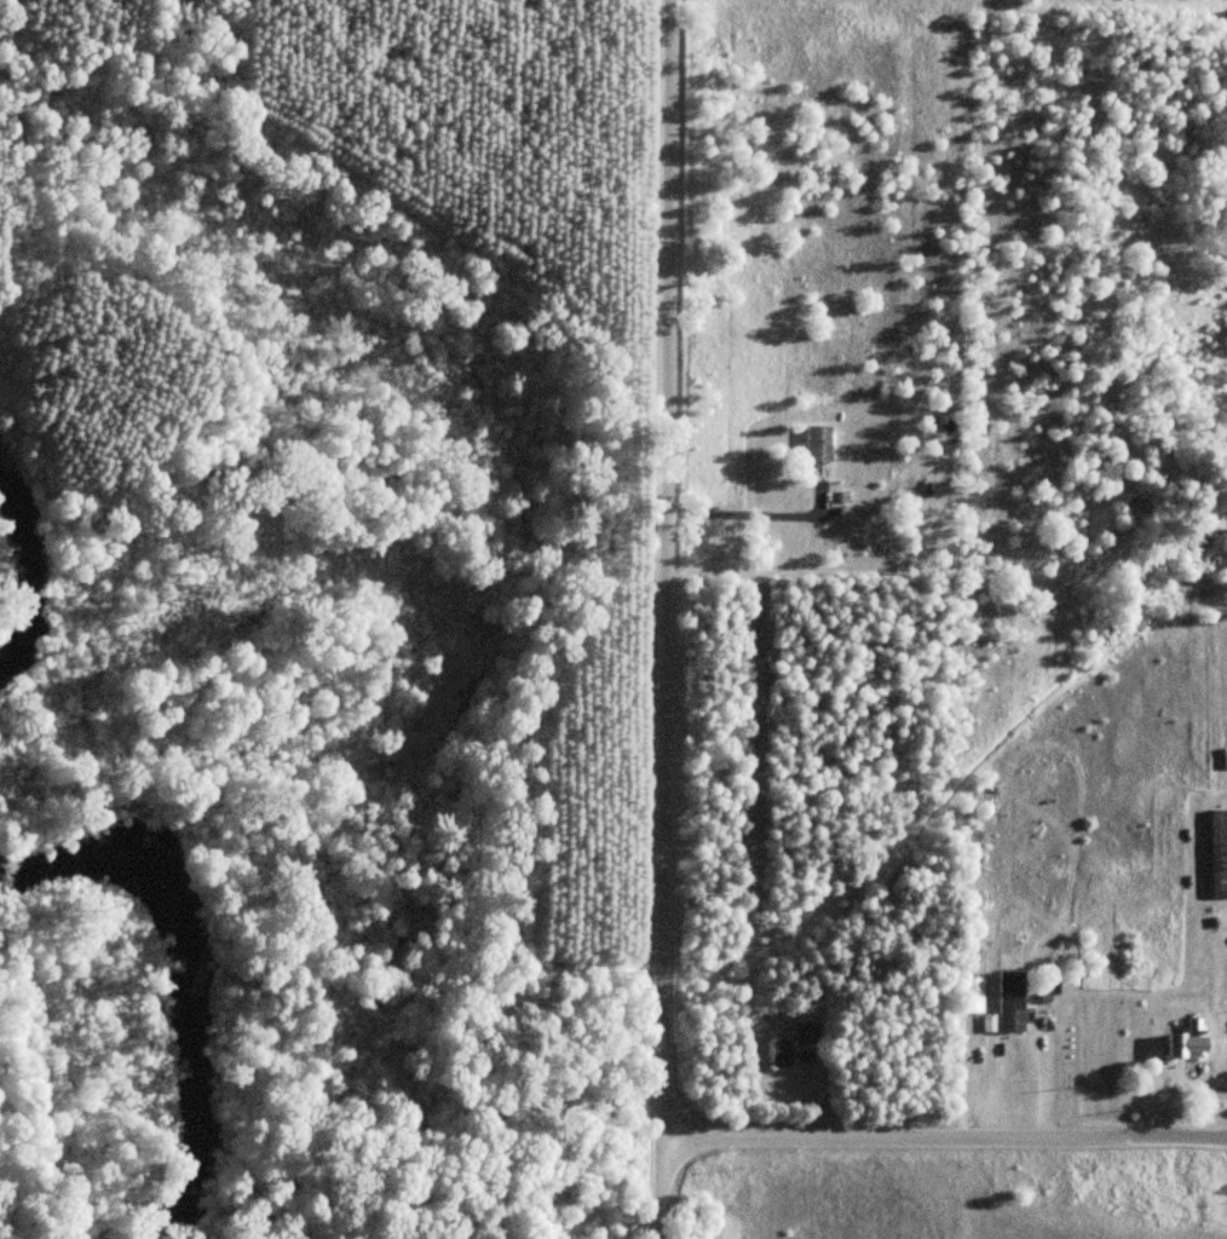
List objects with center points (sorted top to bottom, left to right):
road: (15, 104)
building: (816, 445)
road: (817, 537)
river: (23, 566)
road: (647, 619)
building: (1217, 854)
river: (189, 973)
building: (1009, 1003)
building: (806, 1033)
building: (1188, 1042)
building: (778, 1055)
road: (732, 1140)
road: (1021, 1140)

